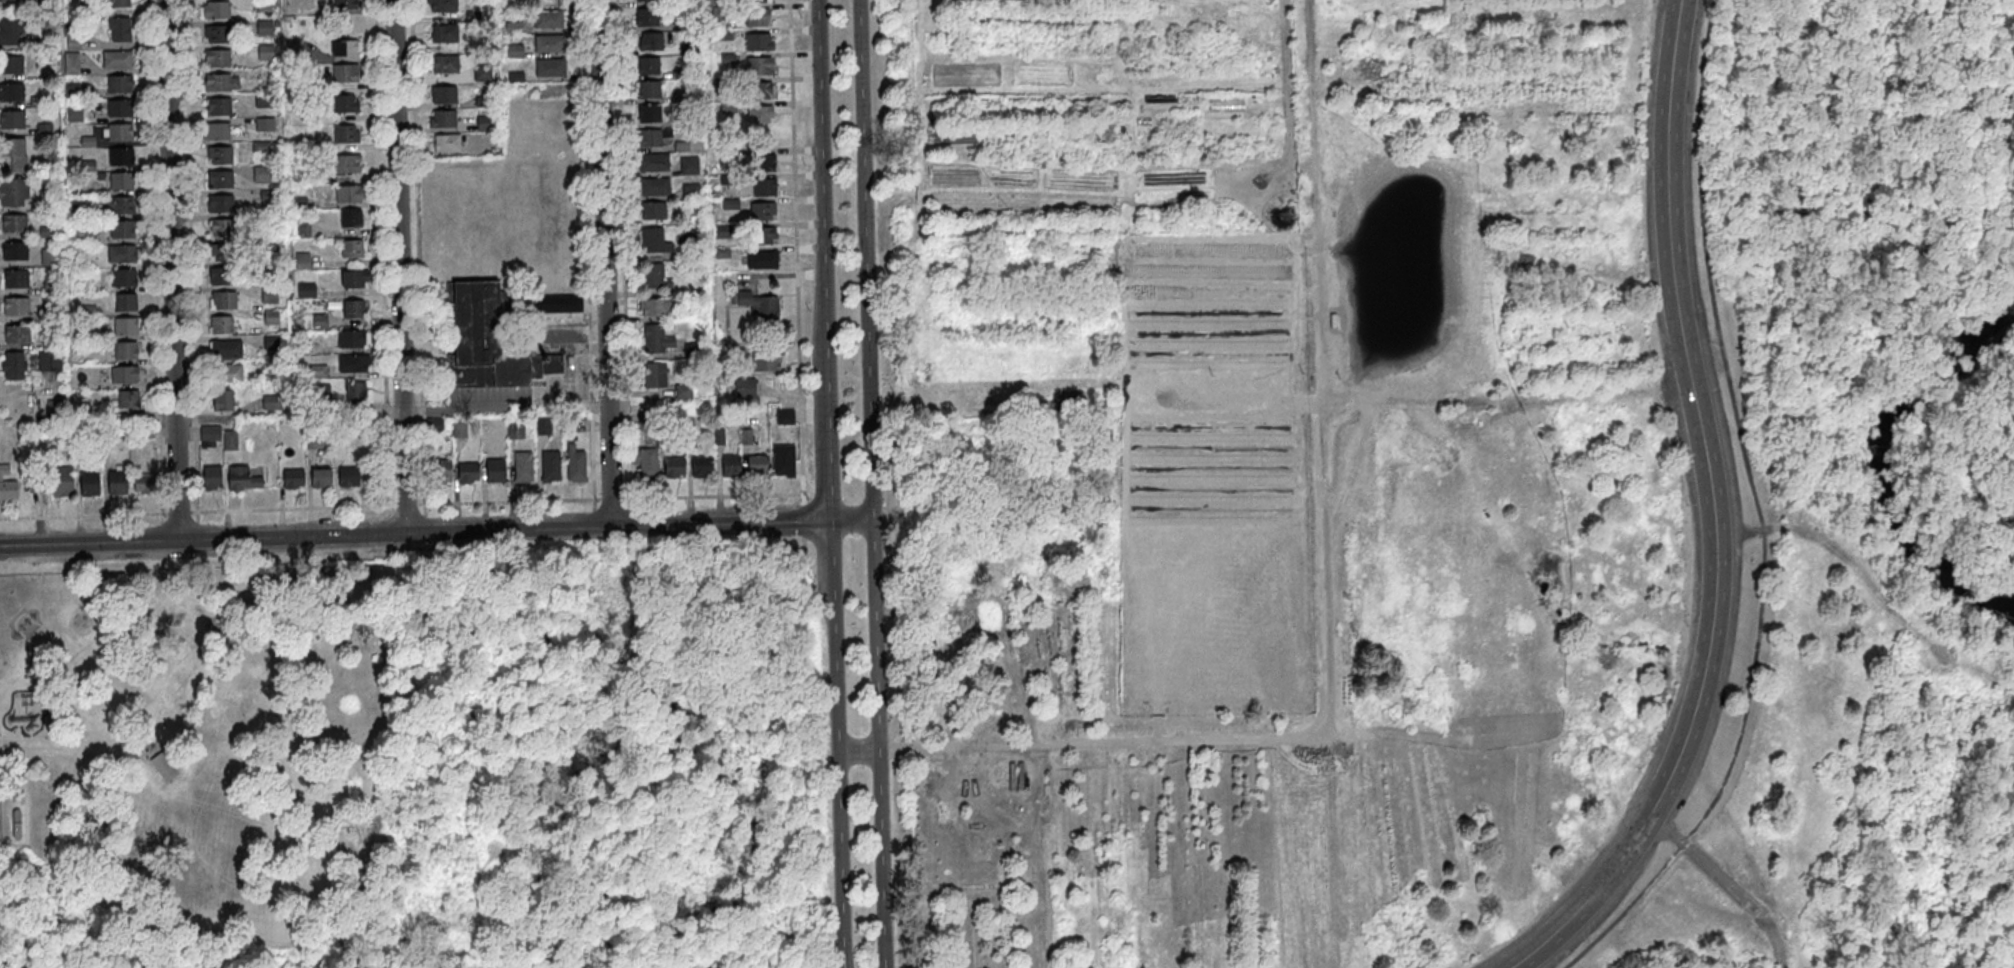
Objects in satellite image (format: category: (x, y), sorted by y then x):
building: (649, 1)
building: (757, 1)
landfill: (1252, 1)
building: (2, 2)
building: (122, 3)
building: (345, 5)
building: (264, 6)
building: (443, 6)
road: (1171, 9)
road: (1268, 9)
building: (86, 10)
building: (216, 12)
building: (719, 15)
building: (473, 17)
road: (1189, 17)
building: (647, 19)
building: (757, 19)
landfill: (1274, 19)
road: (1018, 20)
building: (548, 21)
building: (688, 21)
building: (514, 28)
building: (264, 29)
building: (120, 30)
building: (11, 31)
building: (445, 35)
building: (217, 36)
building: (726, 36)
building: (74, 40)
building: (652, 43)
building: (759, 43)
building: (549, 45)
building: (35, 46)
building: (346, 50)
building: (688, 50)
road: (1115, 50)
building: (515, 53)
building: (266, 54)
building: (218, 59)
building: (729, 60)
building: (118, 61)
road: (1062, 61)
building: (72, 64)
building: (11, 66)
building: (445, 66)
building: (648, 67)
building: (760, 67)
building: (551, 69)
building: (1095, 72)
building: (345, 74)
building: (683, 74)
building: (966, 74)
building: (482, 75)
building: (516, 79)
road: (1075, 81)
road: (1210, 81)
road: (1285, 82)
building: (221, 84)
building: (120, 85)
building: (722, 85)
road: (964, 88)
road: (1057, 88)
building: (72, 91)
building: (649, 91)
building: (759, 91)
road: (921, 93)
building: (11, 94)
building: (444, 96)
road: (1094, 96)
building: (683, 97)
building: (1131, 100)
building: (264, 101)
building: (38, 103)
building: (484, 103)
building: (345, 105)
building: (1131, 107)
building: (219, 108)
building: (729, 109)
building: (120, 110)
road: (1138, 110)
building: (648, 115)
building: (73, 116)
building: (761, 116)
crop: (1105, 116)
road: (1207, 116)
building: (12, 121)
building: (443, 121)
building: (683, 122)
building: (485, 124)
building: (265, 125)
building: (45, 130)
road: (1054, 130)
building: (120, 133)
building: (216, 133)
building: (347, 136)
building: (952, 137)
building: (652, 138)
road: (924, 138)
building: (88, 143)
building: (447, 145)
building: (12, 148)
building: (261, 148)
building: (682, 148)
building: (493, 152)
building: (220, 156)
building: (729, 157)
building: (121, 158)
building: (655, 164)
building: (764, 164)
road: (1027, 164)
building: (347, 165)
road: (1196, 165)
building: (88, 167)
building: (690, 167)
building: (262, 175)
road: (986, 176)
road: (1039, 177)
building: (221, 181)
building: (728, 181)
building: (122, 182)
road: (929, 185)
road: (1169, 187)
building: (81, 188)
building: (656, 188)
building: (765, 189)
road: (929, 189)
road: (1021, 189)
road: (890, 190)
road: (1125, 190)
building: (691, 192)
building: (14, 193)
building: (349, 196)
building: (268, 197)
building: (49, 200)
road: (998, 200)
building: (300, 204)
building: (220, 205)
building: (731, 205)
building: (121, 206)
building: (76, 212)
building: (654, 212)
road: (1015, 212)
building: (764, 213)
building: (352, 220)
building: (269, 222)
building: (14, 224)
building: (223, 230)
building: (124, 231)
building: (302, 231)
building: (722, 232)
building: (47, 233)
building: (83, 236)
building: (763, 237)
building: (655, 243)
building: (353, 250)
road: (795, 252)
building: (15, 253)
building: (122, 255)
building: (222, 255)
building: (723, 255)
road: (417, 258)
building: (50, 259)
road: (190, 261)
road: (603, 262)
building: (763, 262)
building: (303, 263)
road: (382, 265)
road: (399, 265)
building: (269, 269)
road: (170, 270)
road: (154, 271)
building: (655, 278)
building: (221, 279)
building: (124, 280)
building: (16, 281)
building: (354, 281)
building: (52, 287)
building: (306, 292)
building: (269, 297)
building: (224, 302)
building: (126, 304)
building: (560, 305)
building: (17, 308)
building: (657, 308)
building: (761, 308)
building: (354, 311)
building: (89, 312)
building: (51, 314)
building: (685, 315)
building: (271, 319)
building: (320, 323)
building: (127, 327)
building: (221, 327)
building: (18, 336)
building: (90, 336)
building: (353, 341)
building: (657, 341)
building: (50, 342)
building: (491, 342)
building: (273, 344)
building: (227, 351)
building: (125, 352)
building: (694, 352)
building: (50, 362)
building: (767, 364)
building: (354, 365)
building: (14, 367)
building: (317, 372)
building: (124, 375)
building: (227, 375)
building: (656, 377)
building: (746, 388)
building: (684, 392)
building: (323, 393)
building: (356, 394)
road: (1263, 400)
building: (128, 401)
building: (224, 402)
building: (272, 404)
building: (50, 407)
building: (658, 416)
building: (786, 418)
building: (640, 422)
building: (435, 426)
building: (544, 428)
building: (460, 431)
building: (515, 431)
building: (146, 434)
building: (211, 435)
building: (719, 438)
building: (747, 438)
road: (1700, 438)
building: (231, 442)
building: (315, 442)
river: (1878, 461)
building: (784, 462)
building: (646, 463)
building: (576, 466)
building: (732, 467)
building: (757, 467)
building: (551, 468)
building: (702, 468)
building: (523, 469)
building: (675, 469)
building: (496, 472)
building: (442, 473)
building: (469, 475)
building: (212, 479)
building: (349, 479)
building: (242, 480)
building: (294, 480)
building: (321, 480)
building: (62, 482)
road: (829, 483)
road: (871, 483)
building: (117, 484)
building: (36, 485)
building: (89, 485)
building: (145, 485)
building: (7, 486)
road: (400, 505)
road: (1322, 509)
road: (1759, 512)
road: (803, 520)
road: (852, 521)
road: (425, 523)
road: (415, 530)
road: (197, 531)
street lamp: (855, 538)
road: (804, 543)
park: (1200, 553)
road: (178, 569)
road: (995, 577)
road: (1870, 586)
road: (391, 618)
road: (63, 629)
road: (41, 728)
road: (51, 741)
road: (956, 745)
road: (858, 747)
road: (69, 749)
building: (163, 766)
building: (1016, 775)
road: (22, 787)
building: (17, 824)
road: (1725, 883)
road: (239, 907)
road: (1567, 917)

